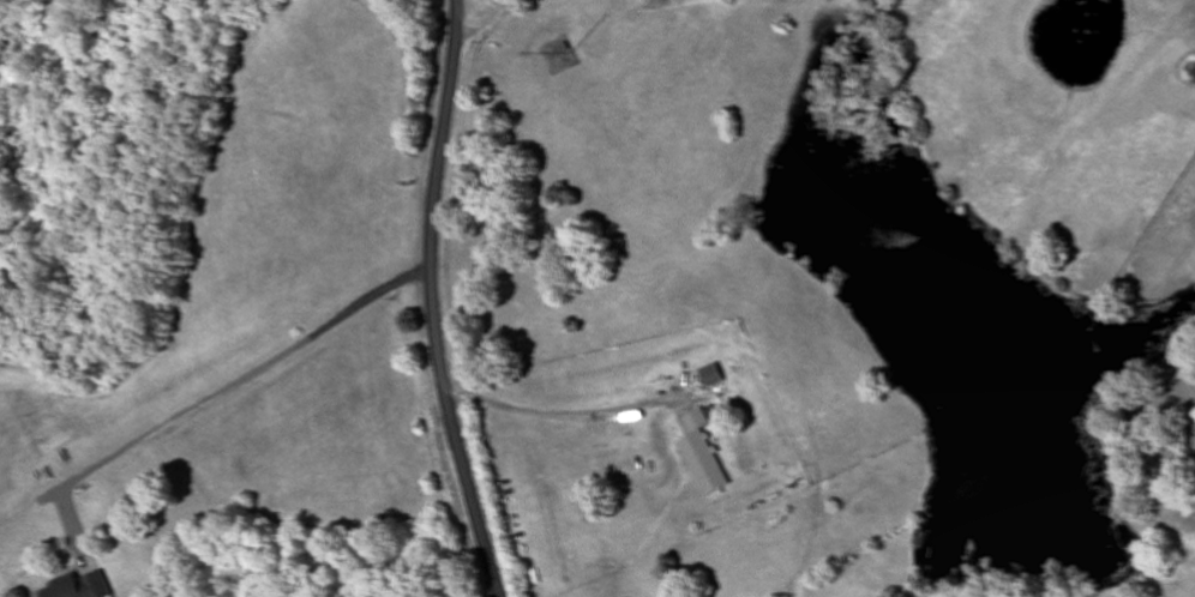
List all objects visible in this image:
building: (562, 49)
road: (433, 301)
building: (713, 375)
building: (702, 454)
building: (79, 586)

